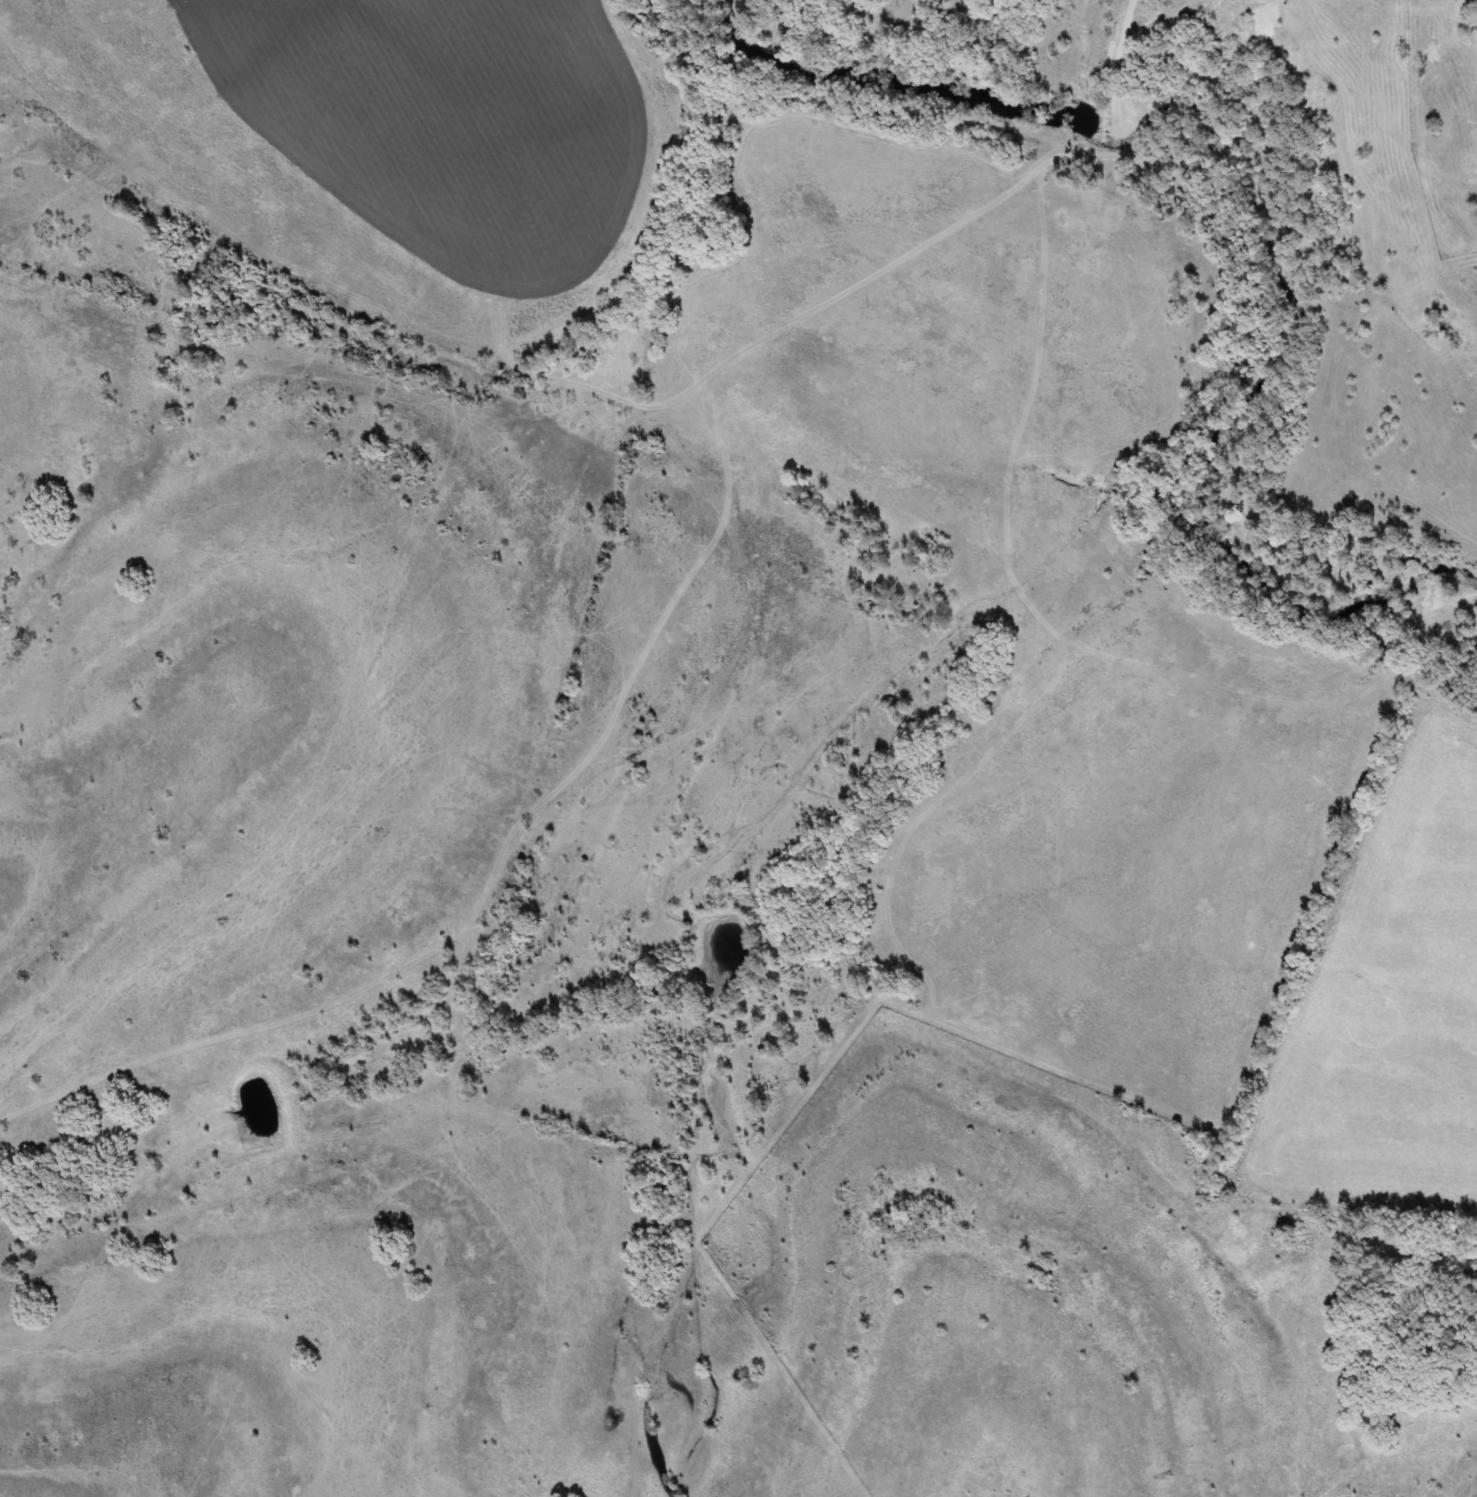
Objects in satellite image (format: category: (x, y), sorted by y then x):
building: (1472, 20)
road: (1120, 35)

